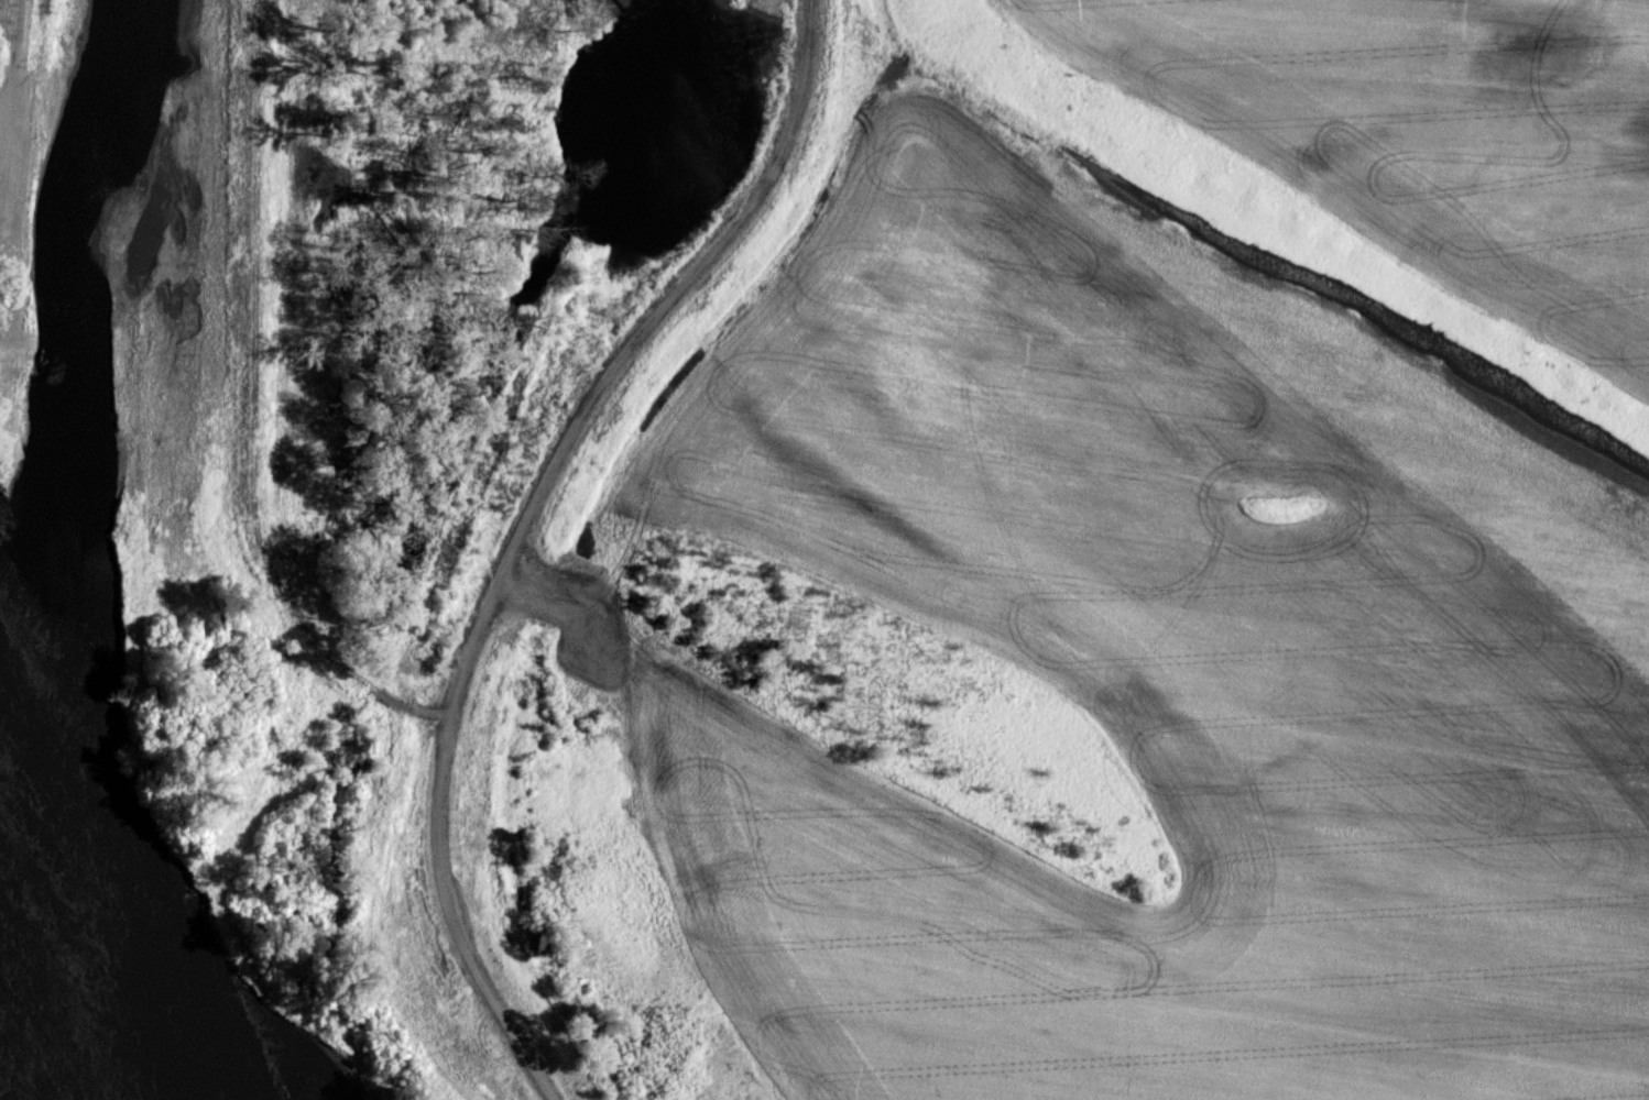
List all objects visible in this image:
road: (523, 527)

